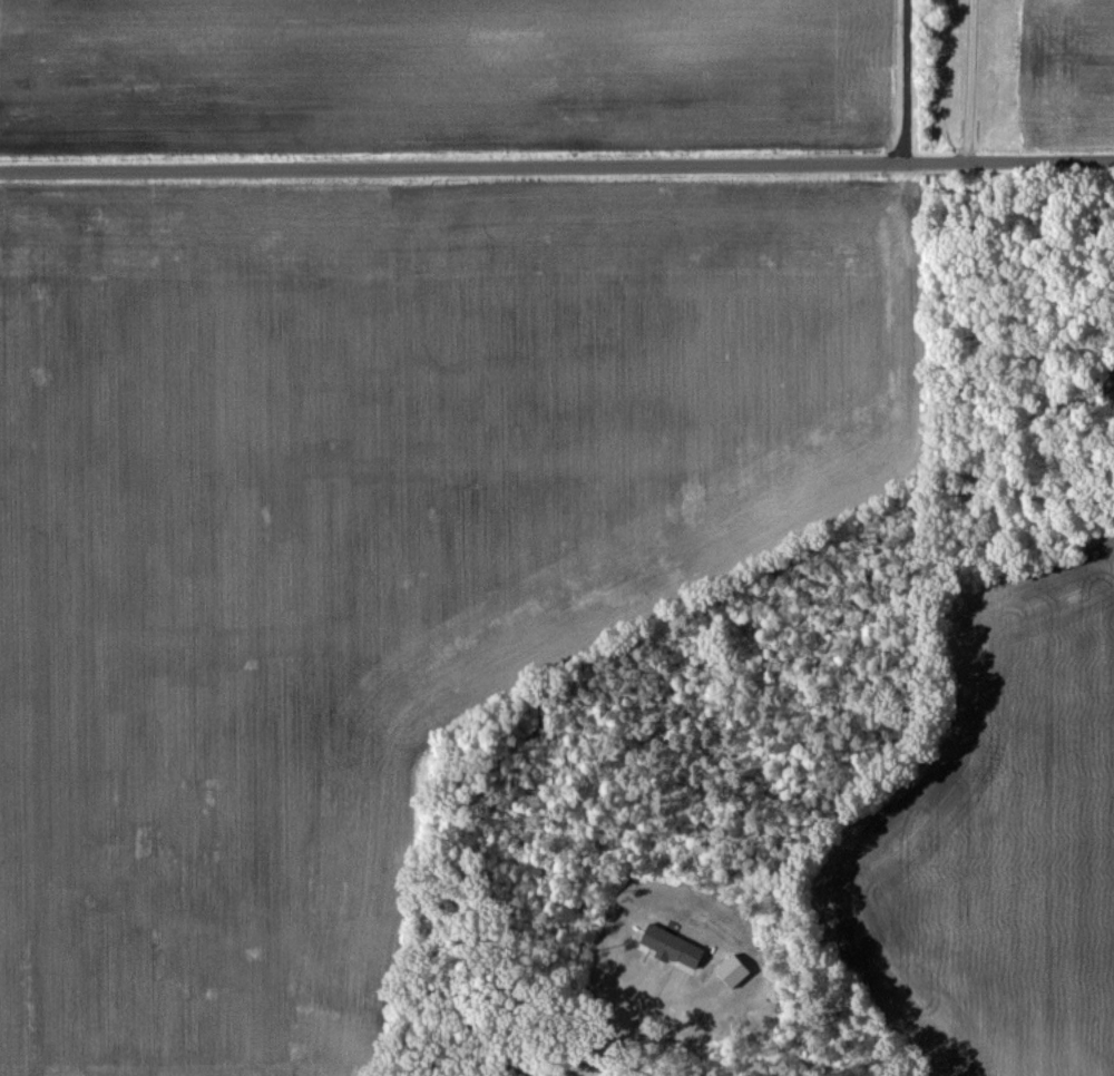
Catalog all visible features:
road: (961, 78)
road: (556, 158)
building: (1106, 379)

